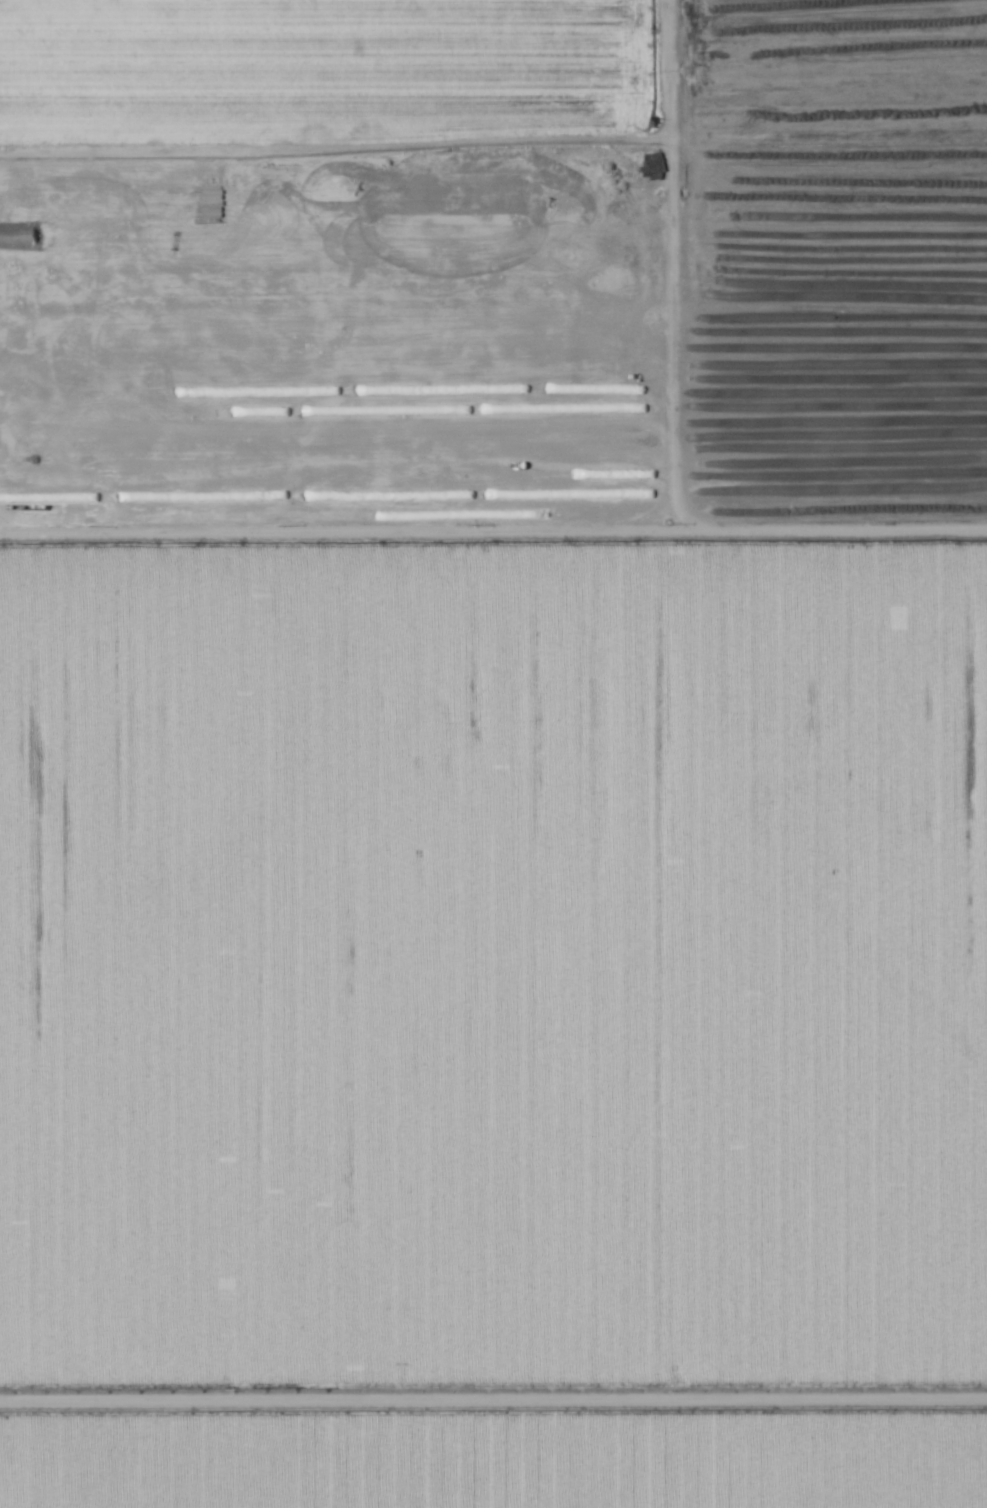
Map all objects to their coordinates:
road: (493, 539)
road: (493, 1397)

